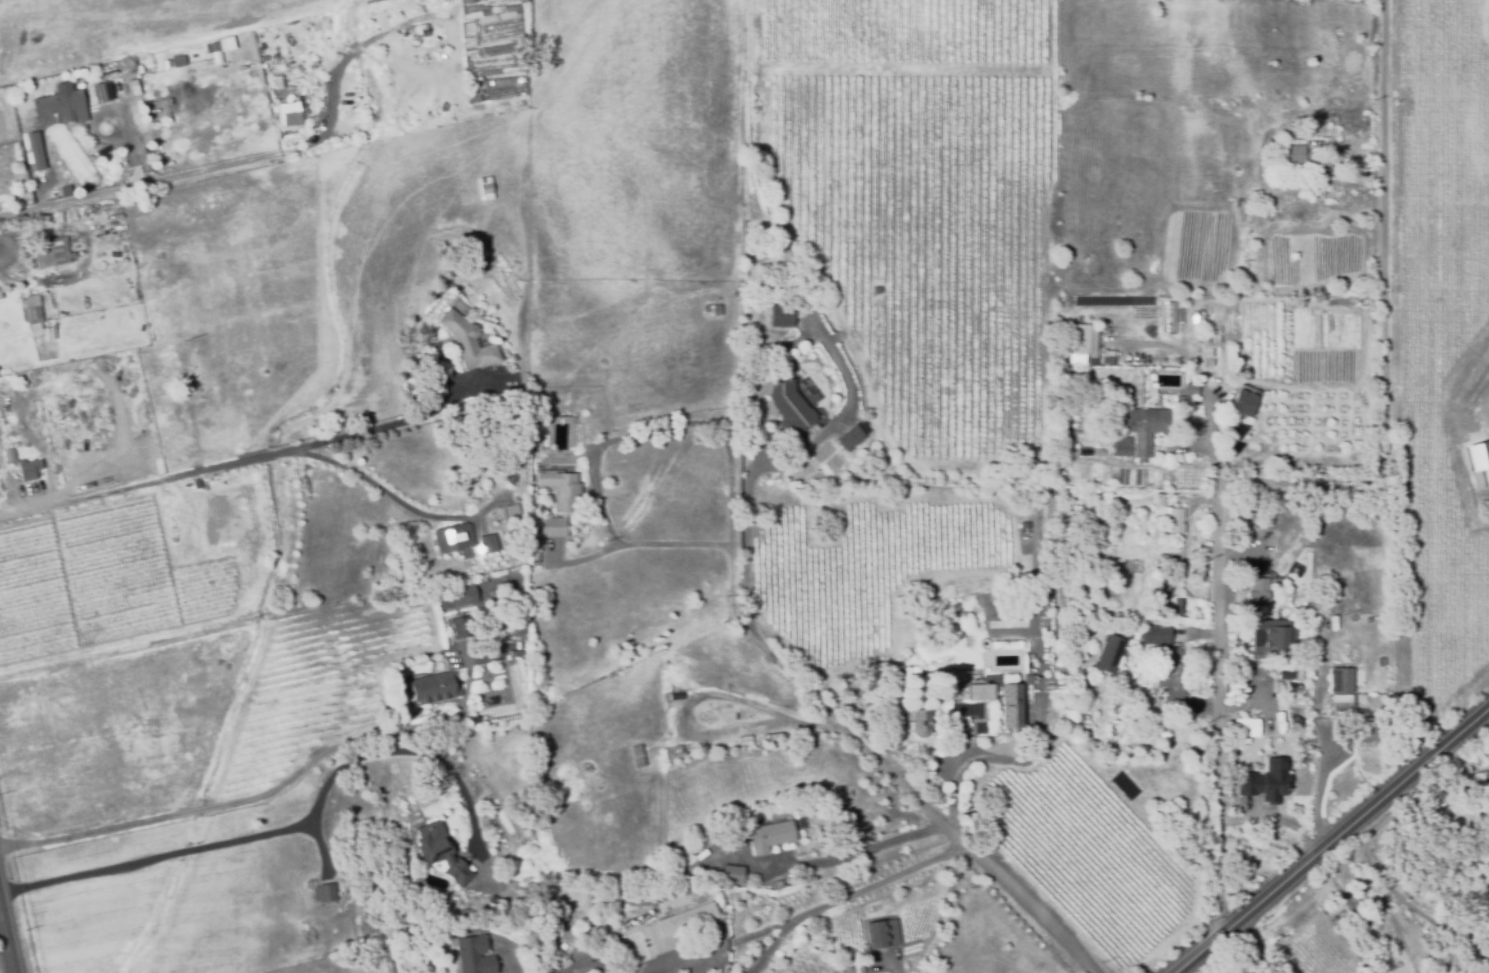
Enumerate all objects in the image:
building: (521, 1)
building: (461, 2)
building: (490, 12)
building: (325, 26)
building: (281, 35)
building: (431, 41)
building: (217, 45)
building: (407, 58)
building: (177, 60)
building: (439, 68)
building: (495, 73)
building: (493, 83)
building: (430, 85)
building: (419, 87)
building: (102, 93)
building: (61, 105)
building: (290, 115)
road: (317, 141)
building: (15, 148)
building: (1, 150)
building: (33, 150)
building: (1294, 156)
building: (1325, 162)
building: (483, 190)
building: (1314, 191)
road: (76, 200)
building: (78, 212)
building: (71, 216)
building: (58, 218)
building: (50, 253)
building: (874, 291)
building: (29, 308)
building: (710, 312)
building: (1168, 317)
building: (780, 318)
building: (33, 326)
building: (34, 333)
building: (1081, 340)
building: (467, 342)
building: (1107, 357)
building: (510, 359)
building: (1063, 379)
road: (1202, 382)
building: (1190, 390)
building: (1177, 401)
building: (1241, 403)
building: (788, 408)
building: (1143, 430)
building: (848, 439)
building: (1121, 448)
building: (1097, 452)
building: (1083, 454)
building: (7, 457)
road: (238, 462)
building: (1478, 463)
building: (27, 470)
road: (594, 479)
road: (1310, 482)
road: (381, 488)
building: (560, 490)
building: (1158, 499)
building: (509, 511)
building: (1172, 520)
building: (1155, 525)
building: (553, 528)
building: (453, 534)
building: (484, 546)
building: (533, 558)
road: (745, 575)
building: (1258, 590)
building: (457, 592)
building: (496, 594)
building: (459, 626)
building: (1155, 633)
building: (1271, 639)
building: (515, 651)
building: (1108, 654)
building: (1026, 677)
building: (1169, 677)
building: (1340, 680)
building: (434, 684)
building: (989, 695)
building: (1341, 708)
building: (726, 710)
building: (919, 721)
building: (955, 727)
building: (774, 737)
building: (1245, 737)
building: (742, 741)
building: (676, 750)
building: (634, 755)
road: (1461, 760)
road: (1486, 766)
building: (1273, 781)
road: (157, 814)
building: (800, 824)
road: (270, 830)
road: (1328, 834)
road: (950, 836)
building: (769, 837)
building: (721, 849)
building: (439, 853)
road: (835, 857)
road: (986, 864)
building: (731, 876)
building: (714, 877)
building: (323, 895)
building: (677, 897)
road: (1360, 909)
road: (808, 912)
building: (460, 916)
building: (692, 916)
building: (881, 935)
road: (780, 943)
road: (5, 949)
road: (1252, 949)
building: (472, 956)
building: (558, 957)
building: (386, 965)
road: (512, 970)
road: (898, 971)

